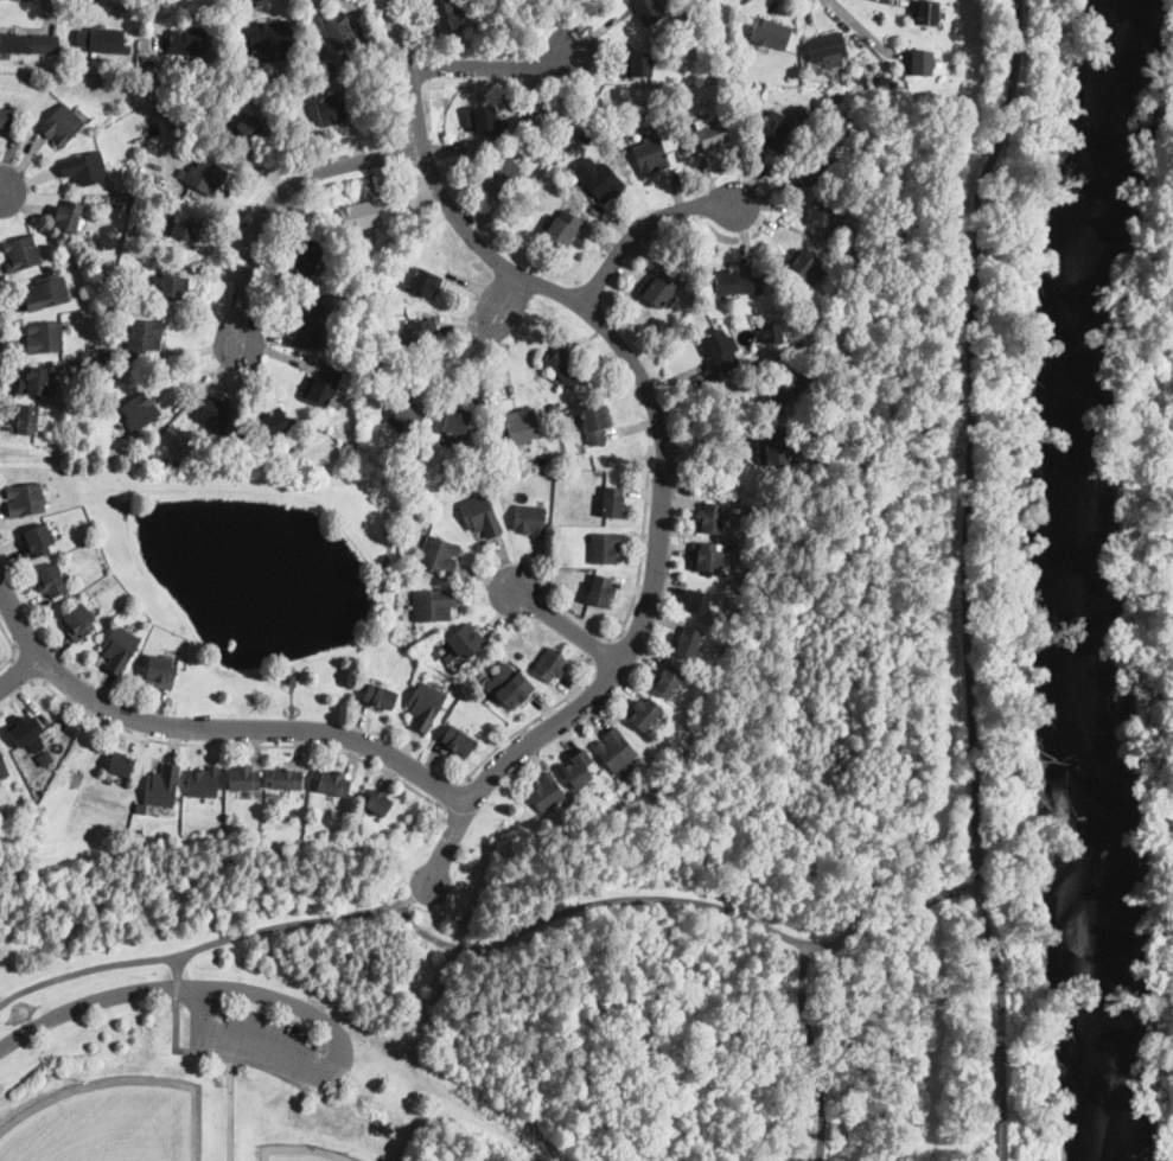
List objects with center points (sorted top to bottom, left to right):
building: (688, 9)
building: (649, 11)
building: (925, 12)
building: (447, 14)
road: (861, 27)
building: (333, 28)
building: (771, 34)
building: (270, 36)
building: (107, 42)
building: (189, 42)
building: (15, 44)
building: (827, 47)
building: (919, 63)
building: (638, 65)
road: (493, 66)
building: (374, 68)
building: (867, 71)
building: (148, 72)
building: (876, 79)
building: (106, 81)
building: (682, 106)
building: (329, 110)
building: (165, 111)
building: (7, 119)
building: (485, 121)
building: (62, 125)
building: (611, 127)
building: (249, 129)
building: (807, 132)
building: (604, 133)
building: (586, 134)
building: (774, 134)
building: (713, 135)
building: (525, 139)
building: (649, 157)
building: (84, 168)
building: (811, 170)
building: (204, 177)
building: (505, 179)
building: (603, 183)
road: (279, 194)
road: (2, 197)
building: (822, 213)
building: (69, 216)
building: (359, 217)
road: (640, 227)
park: (977, 227)
building: (186, 228)
building: (561, 230)
building: (350, 242)
building: (308, 251)
building: (21, 254)
building: (804, 268)
building: (426, 283)
building: (735, 283)
building: (173, 285)
building: (658, 289)
building: (390, 292)
building: (47, 293)
road: (504, 295)
building: (119, 302)
building: (308, 324)
building: (811, 326)
building: (771, 331)
building: (423, 332)
building: (144, 336)
building: (44, 337)
road: (450, 351)
building: (718, 351)
building: (109, 357)
building: (565, 368)
building: (34, 381)
building: (321, 388)
building: (780, 389)
building: (407, 409)
building: (139, 410)
building: (553, 410)
building: (91, 414)
building: (213, 414)
building: (27, 420)
building: (274, 421)
building: (455, 422)
building: (595, 425)
building: (522, 427)
road: (661, 430)
building: (774, 446)
building: (479, 453)
building: (113, 454)
building: (241, 455)
building: (257, 461)
building: (574, 463)
building: (542, 464)
building: (25, 499)
building: (613, 503)
building: (480, 516)
building: (709, 519)
building: (530, 521)
building: (37, 541)
building: (605, 548)
building: (439, 555)
building: (706, 557)
park: (1153, 557)
road: (642, 561)
road: (962, 579)
river: (1091, 579)
building: (52, 581)
building: (600, 592)
building: (697, 601)
building: (434, 605)
building: (79, 621)
road: (568, 627)
building: (465, 642)
building: (687, 643)
road: (14, 648)
building: (120, 649)
road: (601, 651)
building: (522, 653)
building: (550, 665)
road: (20, 671)
road: (25, 671)
building: (160, 672)
building: (291, 680)
building: (668, 681)
building: (511, 694)
building: (380, 697)
building: (426, 706)
building: (644, 714)
road: (533, 722)
road: (213, 728)
building: (70, 729)
building: (25, 731)
building: (459, 741)
road: (238, 746)
building: (18, 751)
building: (616, 751)
building: (45, 757)
building: (4, 767)
building: (121, 767)
building: (579, 770)
building: (244, 779)
building: (286, 780)
building: (204, 783)
building: (334, 784)
building: (162, 787)
building: (678, 787)
building: (547, 793)
building: (253, 795)
road: (448, 796)
building: (377, 804)
building: (575, 828)
parking lot: (452, 879)
road: (944, 893)
road: (608, 900)
road: (874, 925)
road: (215, 942)
road: (178, 967)
road: (176, 989)
road: (97, 1001)
park: (522, 1003)
building: (160, 1039)
road: (812, 1051)
road: (334, 1065)
park: (107, 1122)
park: (298, 1155)

